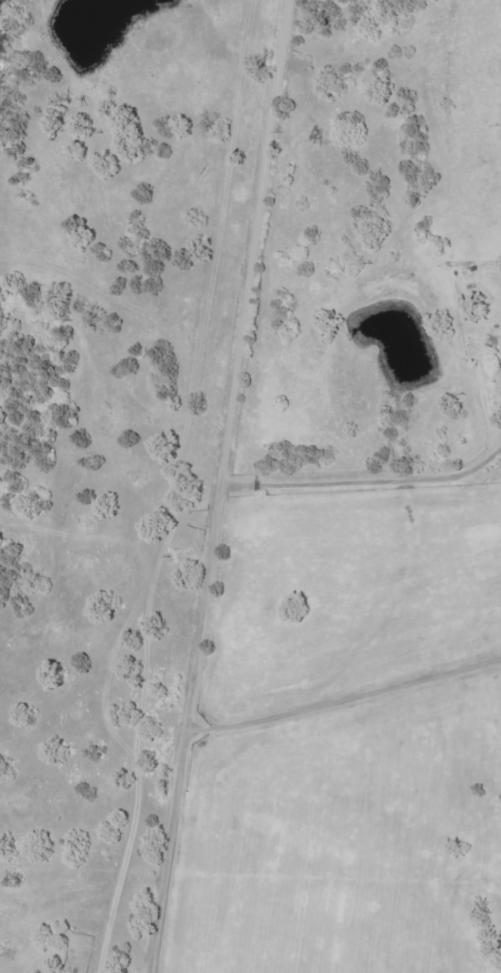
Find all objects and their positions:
road: (269, 30)
road: (377, 187)
road: (209, 517)
road: (342, 695)

